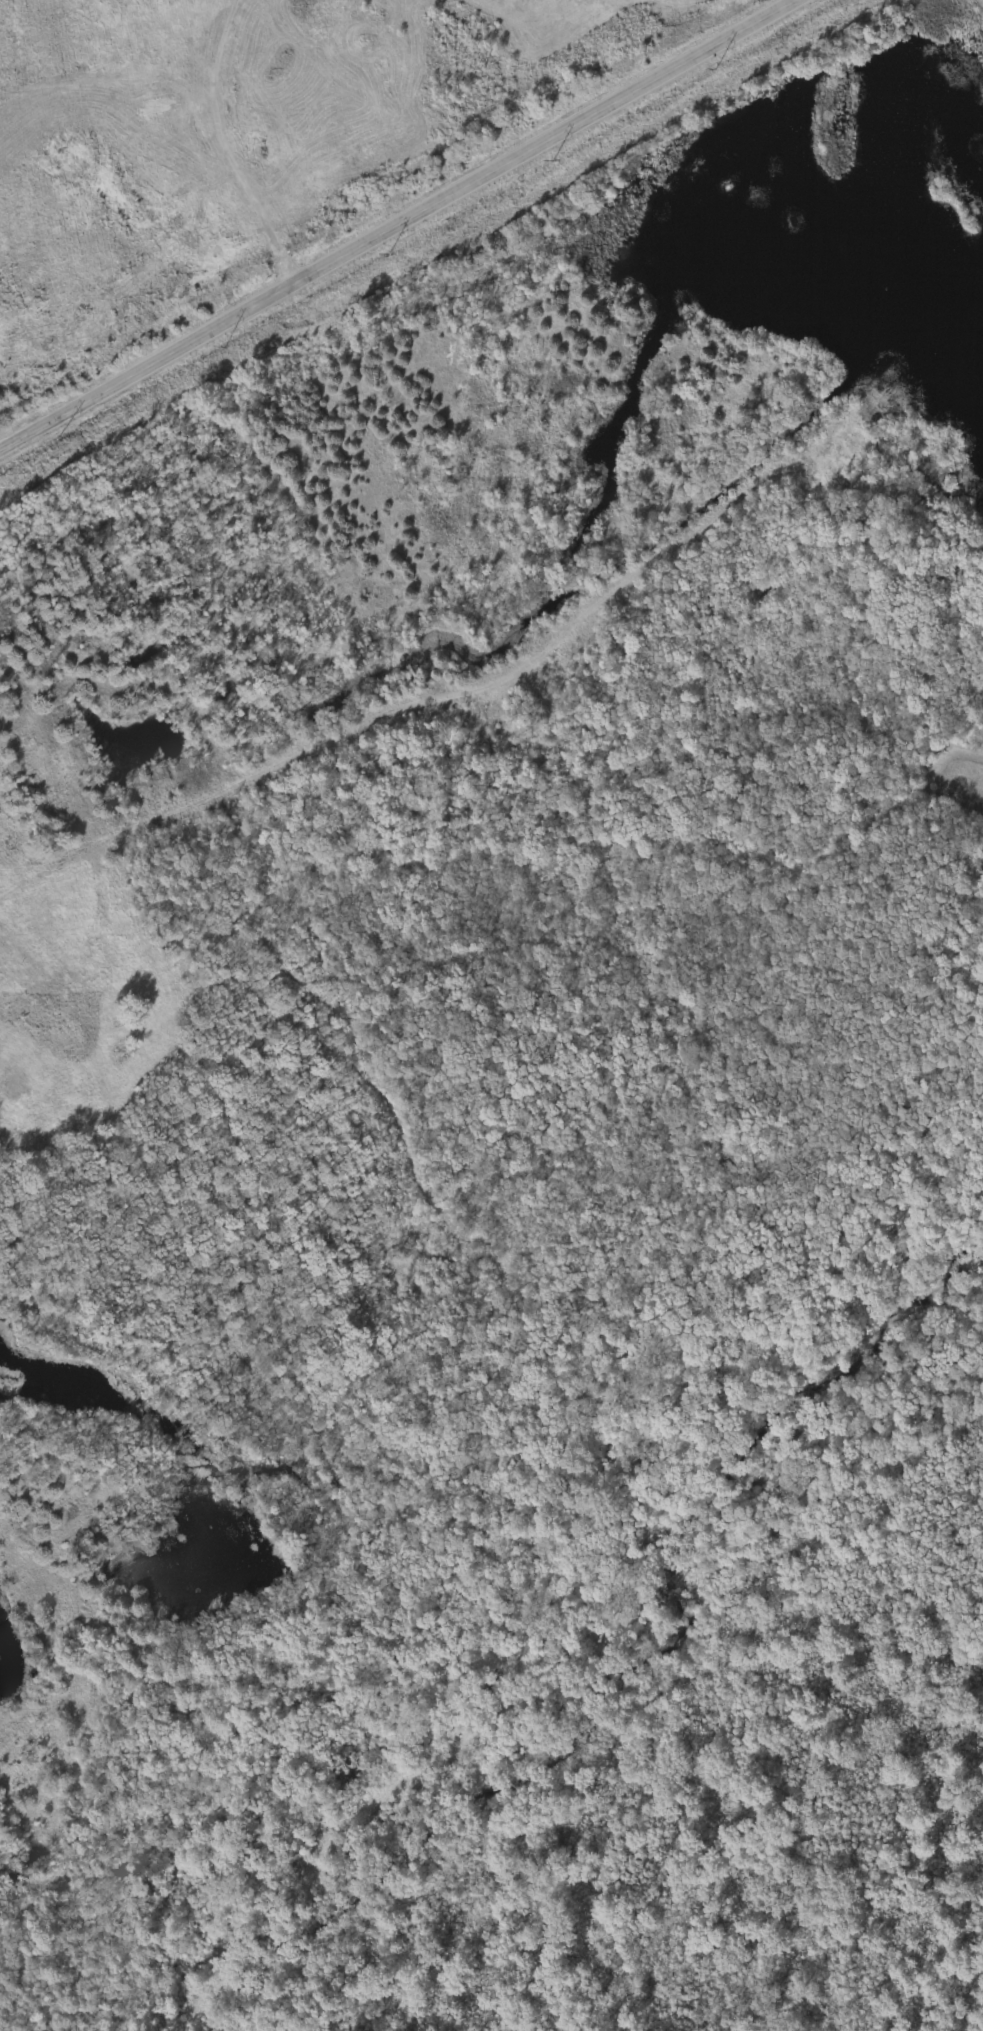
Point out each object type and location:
road: (227, 129)
road: (395, 223)
road: (289, 265)

